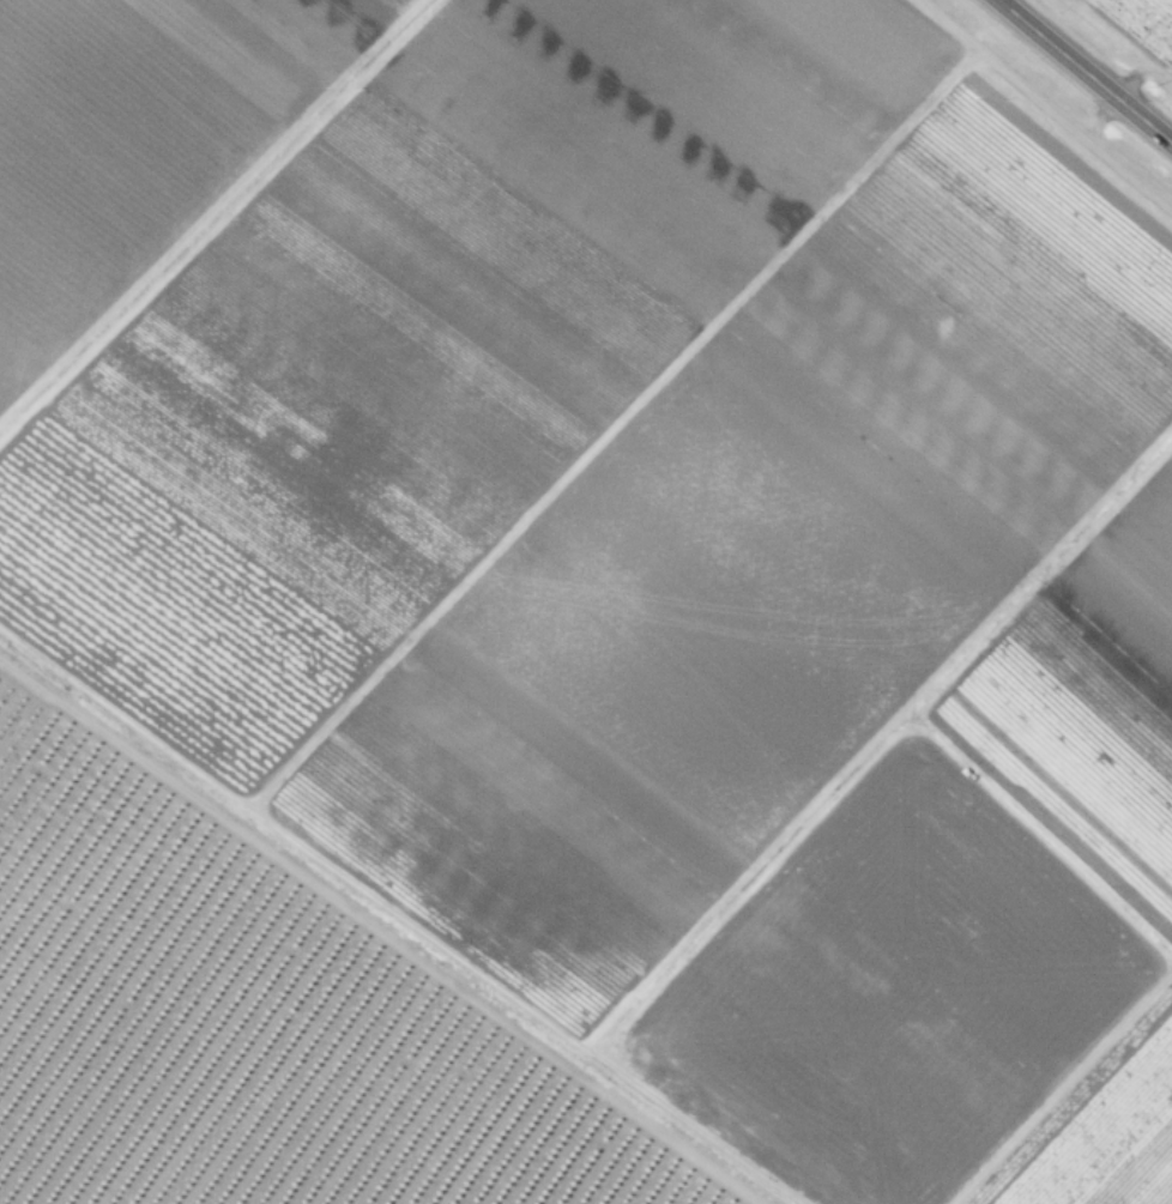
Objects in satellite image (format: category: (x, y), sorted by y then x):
crop: (1140, 25)
road: (1083, 72)
crop: (579, 607)

